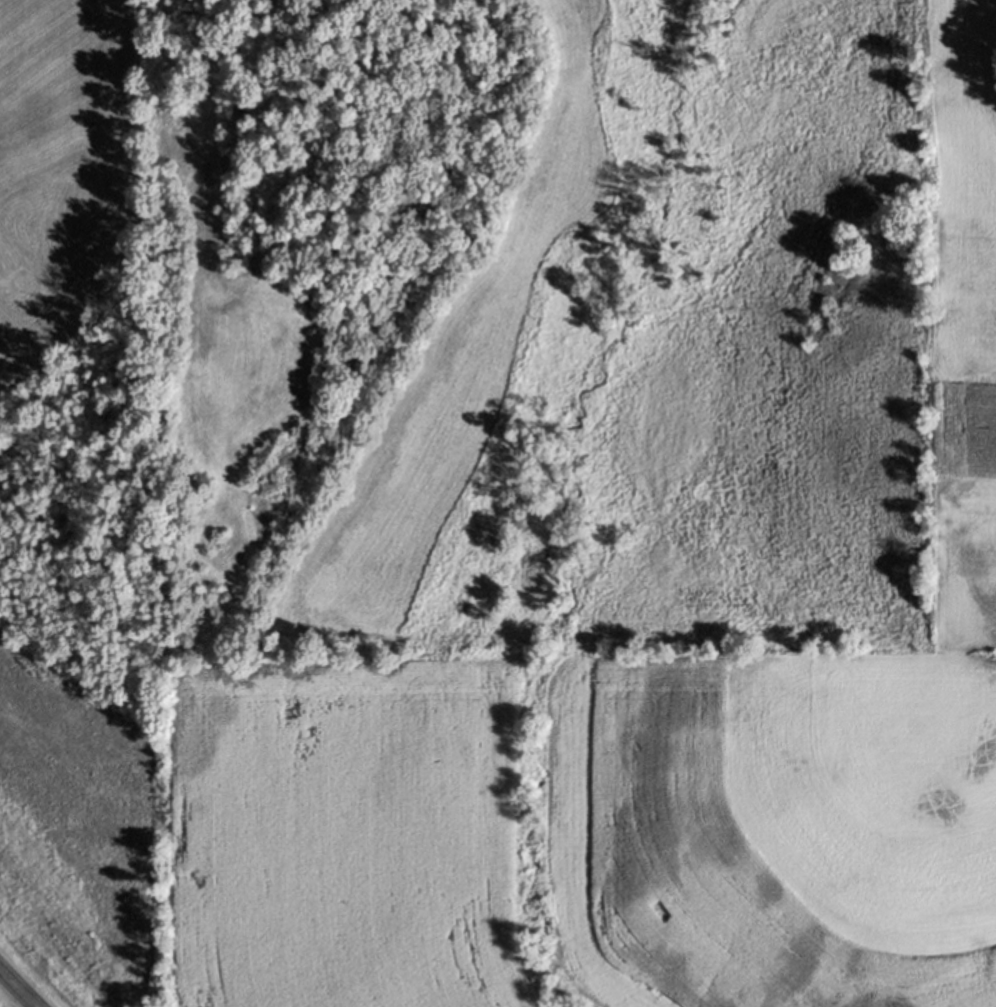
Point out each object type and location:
road: (18, 988)

